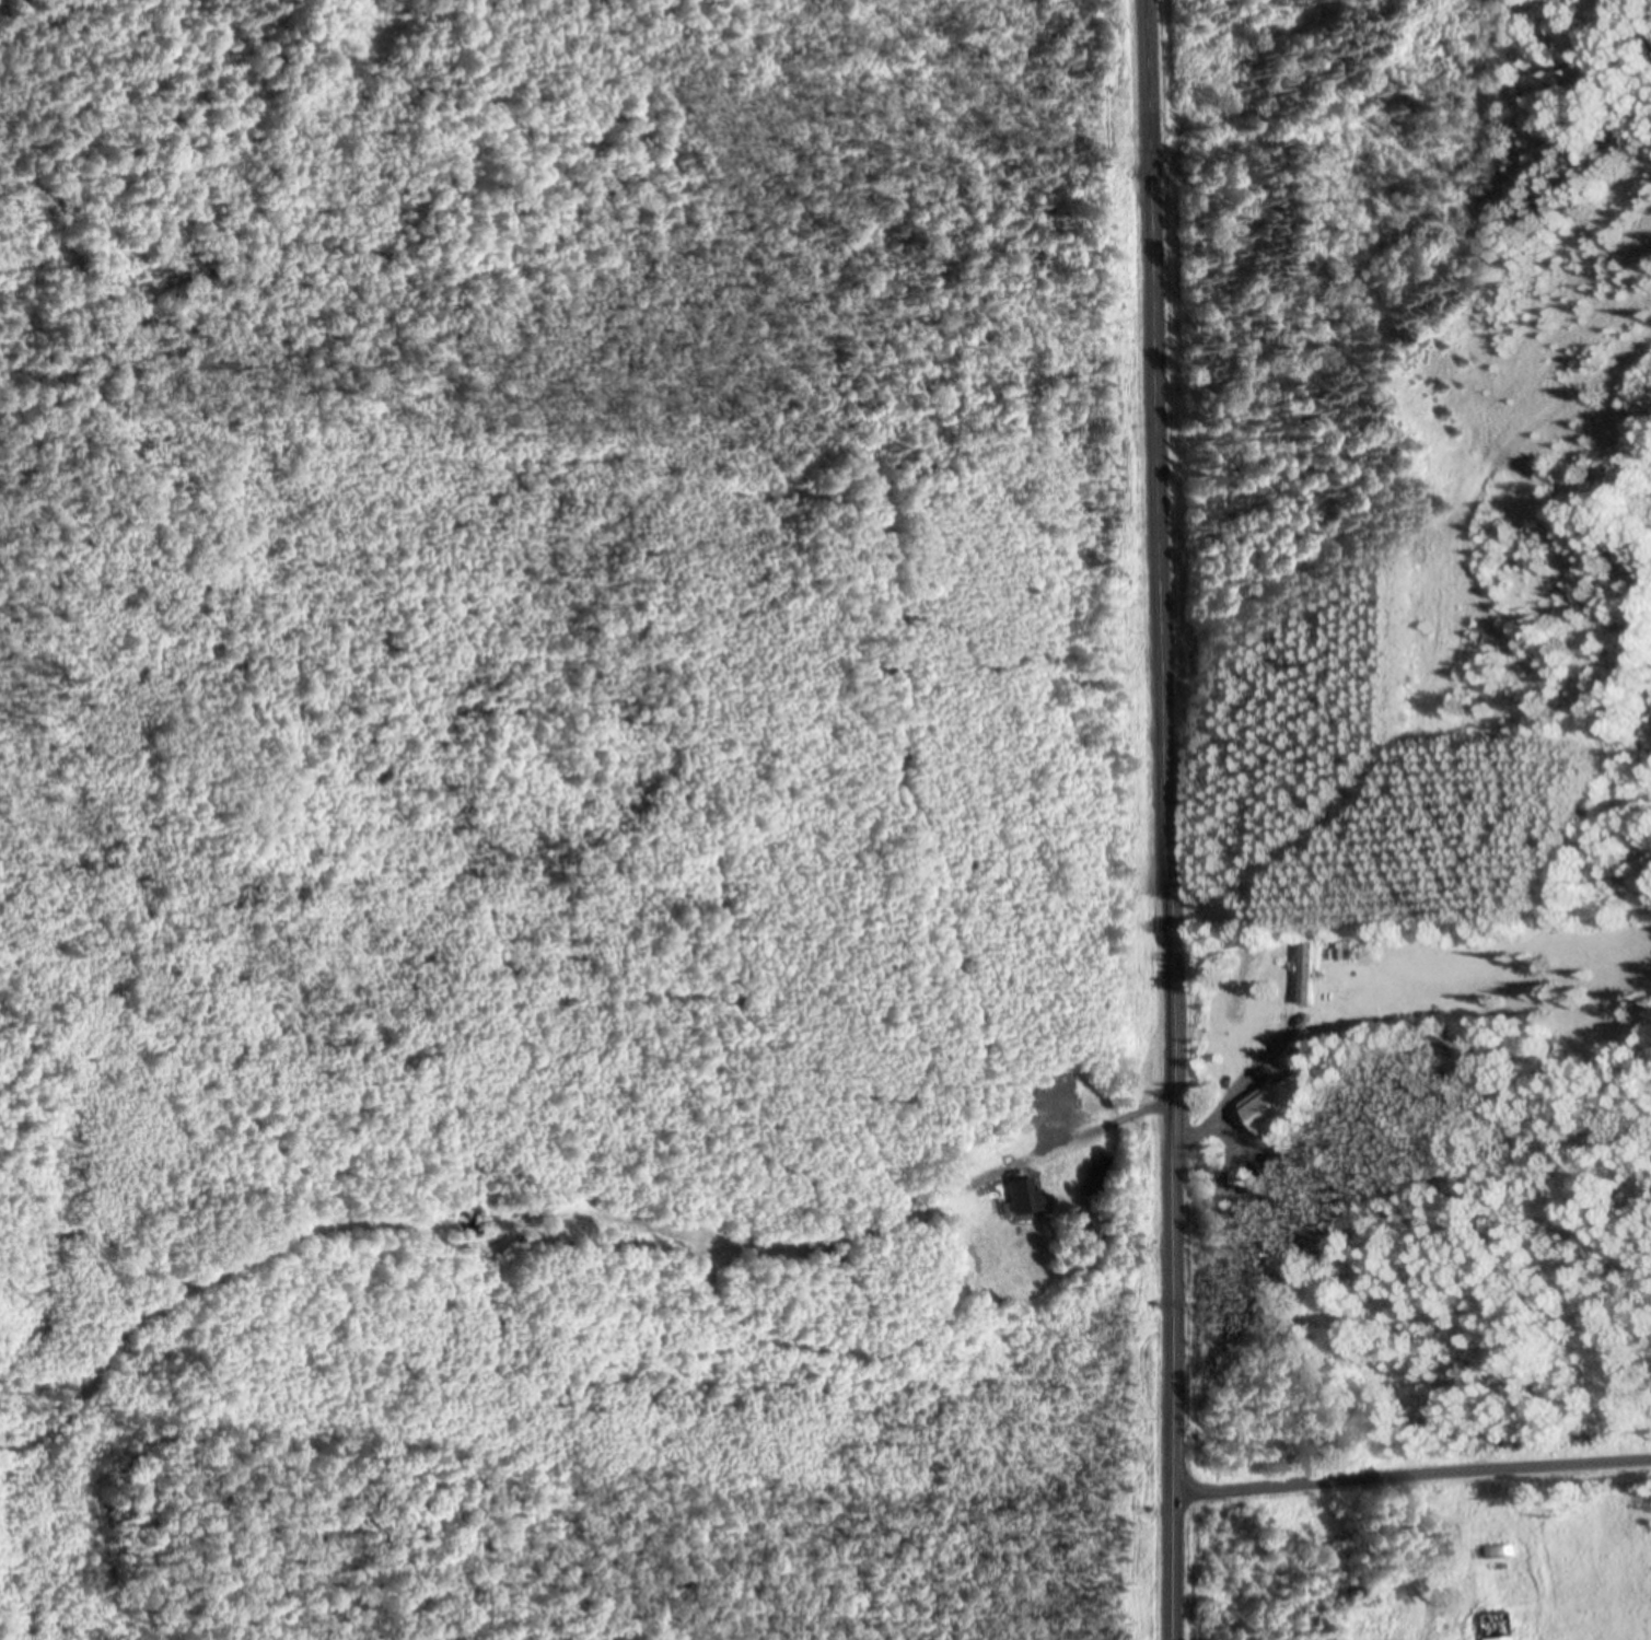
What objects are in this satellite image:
road: (1173, 819)
building: (1306, 976)
building: (1098, 1170)
building: (1028, 1196)
road: (1412, 1485)
building: (1495, 1628)

